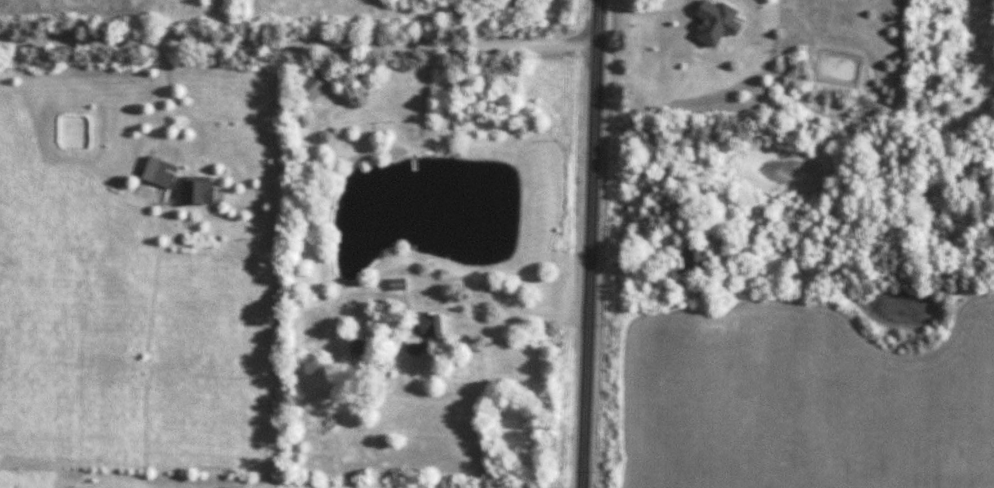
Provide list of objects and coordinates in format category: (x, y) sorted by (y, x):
building: (407, 1)
road: (297, 39)
building: (312, 86)
road: (164, 149)
building: (162, 173)
building: (198, 190)
road: (587, 244)
building: (691, 261)
building: (397, 284)
building: (428, 324)
building: (415, 347)
building: (361, 348)

